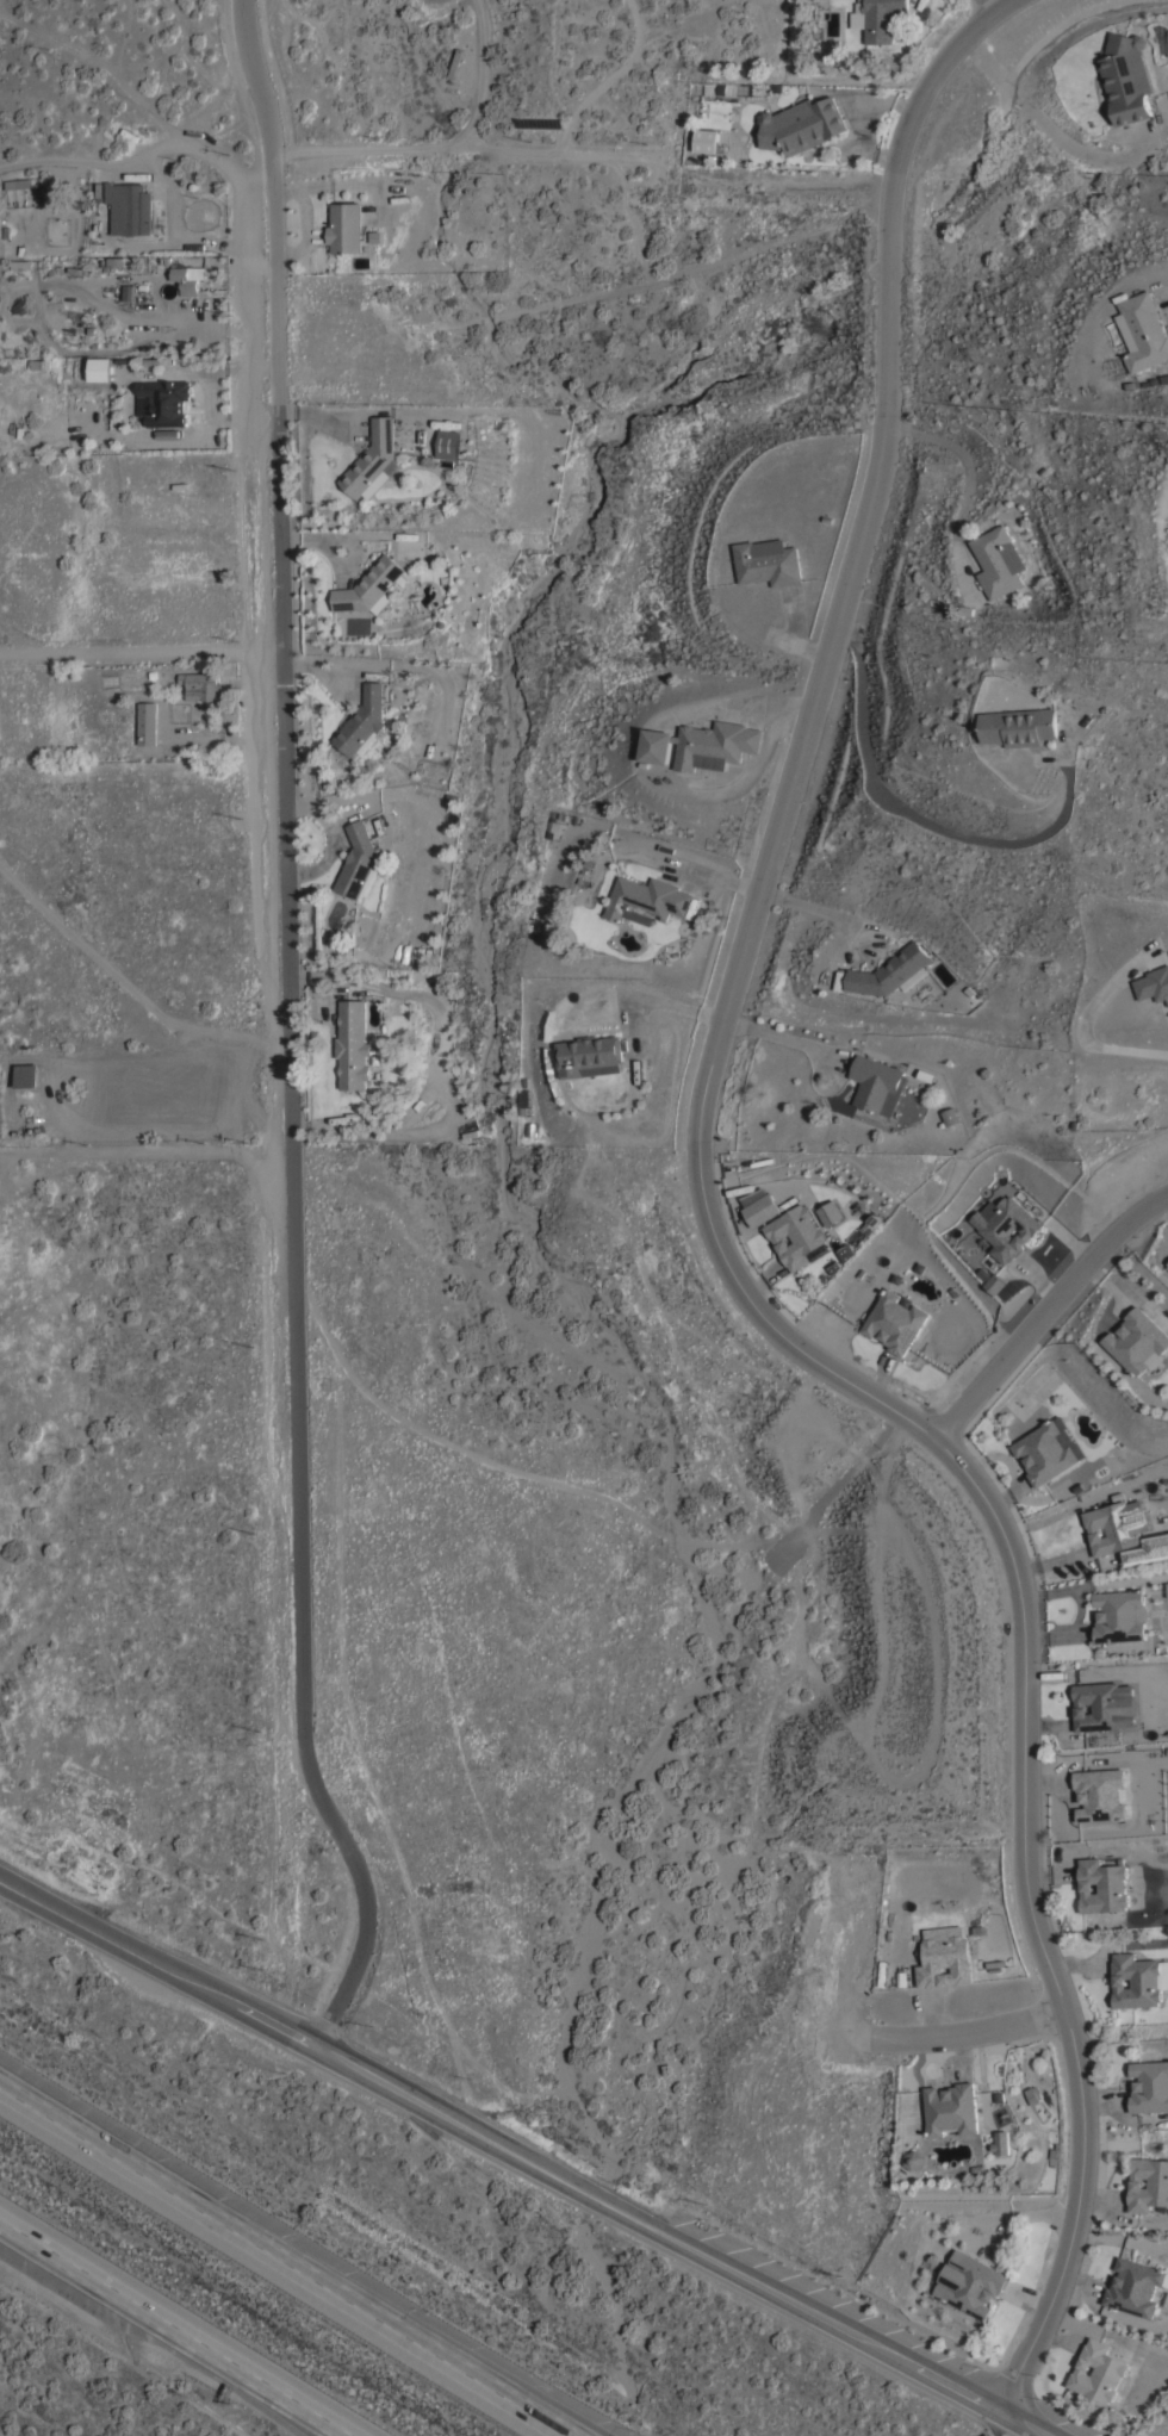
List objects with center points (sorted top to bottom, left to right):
road: (986, 5)
building: (881, 18)
building: (1126, 76)
road: (607, 80)
building: (696, 107)
road: (1042, 123)
building: (801, 124)
road: (434, 136)
building: (707, 139)
road: (503, 153)
road: (141, 154)
building: (17, 182)
building: (130, 207)
building: (346, 226)
road: (244, 232)
building: (19, 263)
building: (188, 278)
building: (129, 291)
road: (249, 324)
building: (1142, 330)
building: (117, 366)
road: (204, 393)
building: (163, 402)
road: (251, 405)
building: (448, 442)
building: (371, 456)
building: (998, 560)
building: (766, 561)
building: (369, 586)
road: (142, 651)
building: (201, 684)
building: (364, 721)
building: (148, 722)
building: (1019, 726)
building: (702, 744)
road: (917, 812)
building: (359, 862)
building: (647, 899)
road: (822, 911)
building: (889, 970)
building: (1153, 983)
road: (656, 1002)
road: (1085, 1024)
road: (292, 1031)
road: (789, 1037)
building: (353, 1044)
building: (590, 1055)
building: (27, 1079)
building: (877, 1083)
building: (950, 1116)
building: (762, 1210)
building: (831, 1213)
building: (1006, 1226)
building: (795, 1235)
road: (717, 1245)
building: (996, 1284)
road: (1129, 1294)
road: (1045, 1313)
building: (895, 1320)
building: (1138, 1341)
building: (1048, 1449)
building: (1111, 1527)
building: (1120, 1615)
building: (1098, 1704)
building: (1100, 1794)
building: (1102, 1884)
building: (944, 1956)
building: (1138, 1980)
road: (969, 2036)
building: (1149, 2086)
building: (951, 2108)
building: (1002, 2140)
road: (529, 2154)
building: (915, 2158)
building: (1148, 2182)
road: (294, 2255)
building: (969, 2283)
building: (1135, 2286)
road: (119, 2291)
building: (1098, 2370)
road: (286, 2401)
road: (296, 2401)

